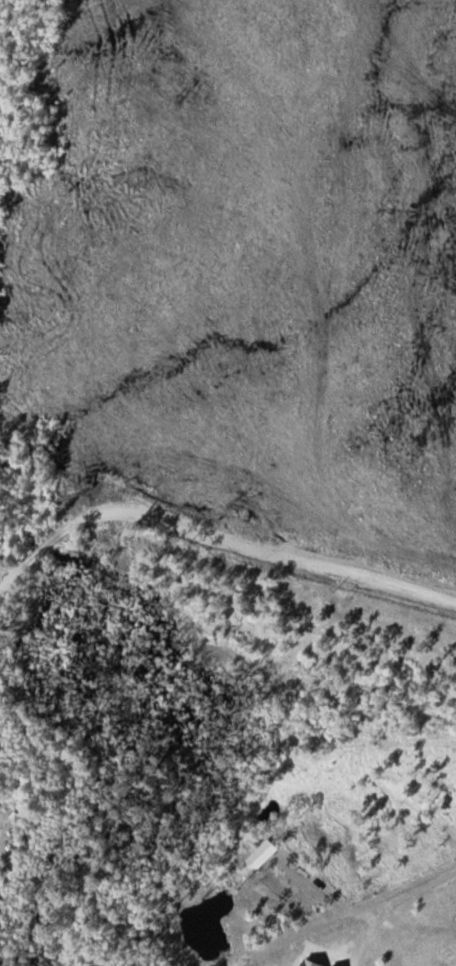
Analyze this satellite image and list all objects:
road: (217, 534)

